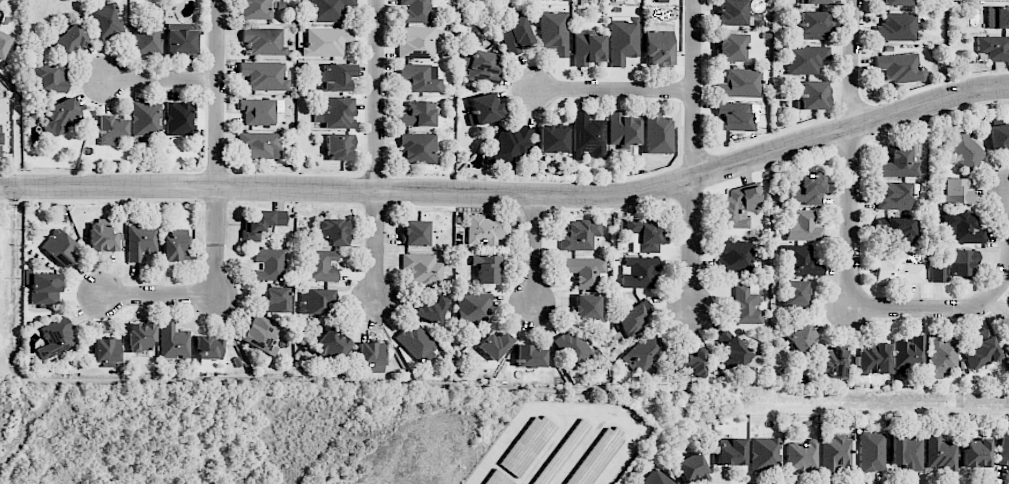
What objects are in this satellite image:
building: (817, 2)
building: (895, 2)
building: (255, 9)
building: (329, 10)
building: (414, 11)
building: (731, 12)
building: (997, 17)
building: (105, 22)
building: (812, 25)
building: (896, 27)
building: (553, 32)
building: (514, 35)
building: (145, 37)
building: (70, 39)
building: (180, 39)
building: (623, 39)
building: (263, 41)
building: (325, 41)
building: (417, 42)
building: (3, 44)
building: (658, 45)
building: (730, 47)
building: (587, 48)
building: (994, 48)
building: (805, 59)
building: (480, 66)
building: (899, 67)
building: (264, 76)
building: (48, 77)
building: (336, 77)
building: (421, 77)
road: (164, 81)
building: (739, 83)
road: (614, 90)
road: (218, 93)
building: (812, 95)
building: (484, 109)
building: (258, 111)
building: (335, 112)
building: (417, 115)
building: (60, 116)
building: (733, 116)
building: (145, 119)
building: (179, 119)
building: (111, 129)
building: (621, 131)
building: (658, 133)
building: (587, 136)
building: (998, 136)
building: (0, 138)
building: (552, 139)
building: (260, 144)
building: (339, 146)
building: (510, 146)
building: (417, 148)
building: (963, 149)
road: (377, 152)
road: (694, 152)
building: (901, 161)
building: (806, 189)
building: (949, 190)
road: (512, 195)
building: (893, 196)
building: (737, 207)
building: (259, 223)
building: (803, 226)
building: (961, 228)
building: (896, 229)
building: (487, 230)
building: (332, 231)
building: (414, 233)
building: (580, 235)
building: (101, 236)
building: (643, 236)
building: (140, 241)
road: (853, 243)
building: (174, 246)
building: (58, 247)
road: (535, 250)
building: (735, 255)
building: (801, 261)
building: (960, 261)
building: (269, 264)
building: (321, 265)
building: (486, 268)
building: (422, 269)
building: (895, 269)
building: (584, 271)
building: (639, 272)
building: (938, 274)
building: (42, 286)
building: (794, 293)
road: (213, 296)
building: (276, 300)
building: (316, 300)
building: (746, 306)
building: (473, 307)
building: (586, 307)
building: (430, 310)
building: (634, 318)
building: (261, 334)
building: (140, 336)
building: (55, 338)
building: (802, 339)
building: (174, 341)
building: (416, 341)
building: (331, 343)
building: (494, 345)
building: (1007, 346)
building: (573, 347)
building: (208, 349)
building: (981, 350)
building: (106, 351)
building: (732, 352)
building: (643, 353)
building: (909, 354)
building: (942, 354)
building: (370, 355)
building: (529, 356)
building: (873, 359)
building: (830, 362)
building: (693, 363)
road: (568, 410)
building: (808, 423)
building: (527, 445)
building: (1002, 450)
building: (559, 451)
building: (730, 451)
building: (871, 451)
building: (906, 452)
building: (940, 452)
building: (835, 453)
building: (975, 453)
building: (764, 454)
building: (652, 455)
building: (800, 455)
building: (597, 456)
building: (691, 468)
building: (497, 478)
building: (656, 478)

